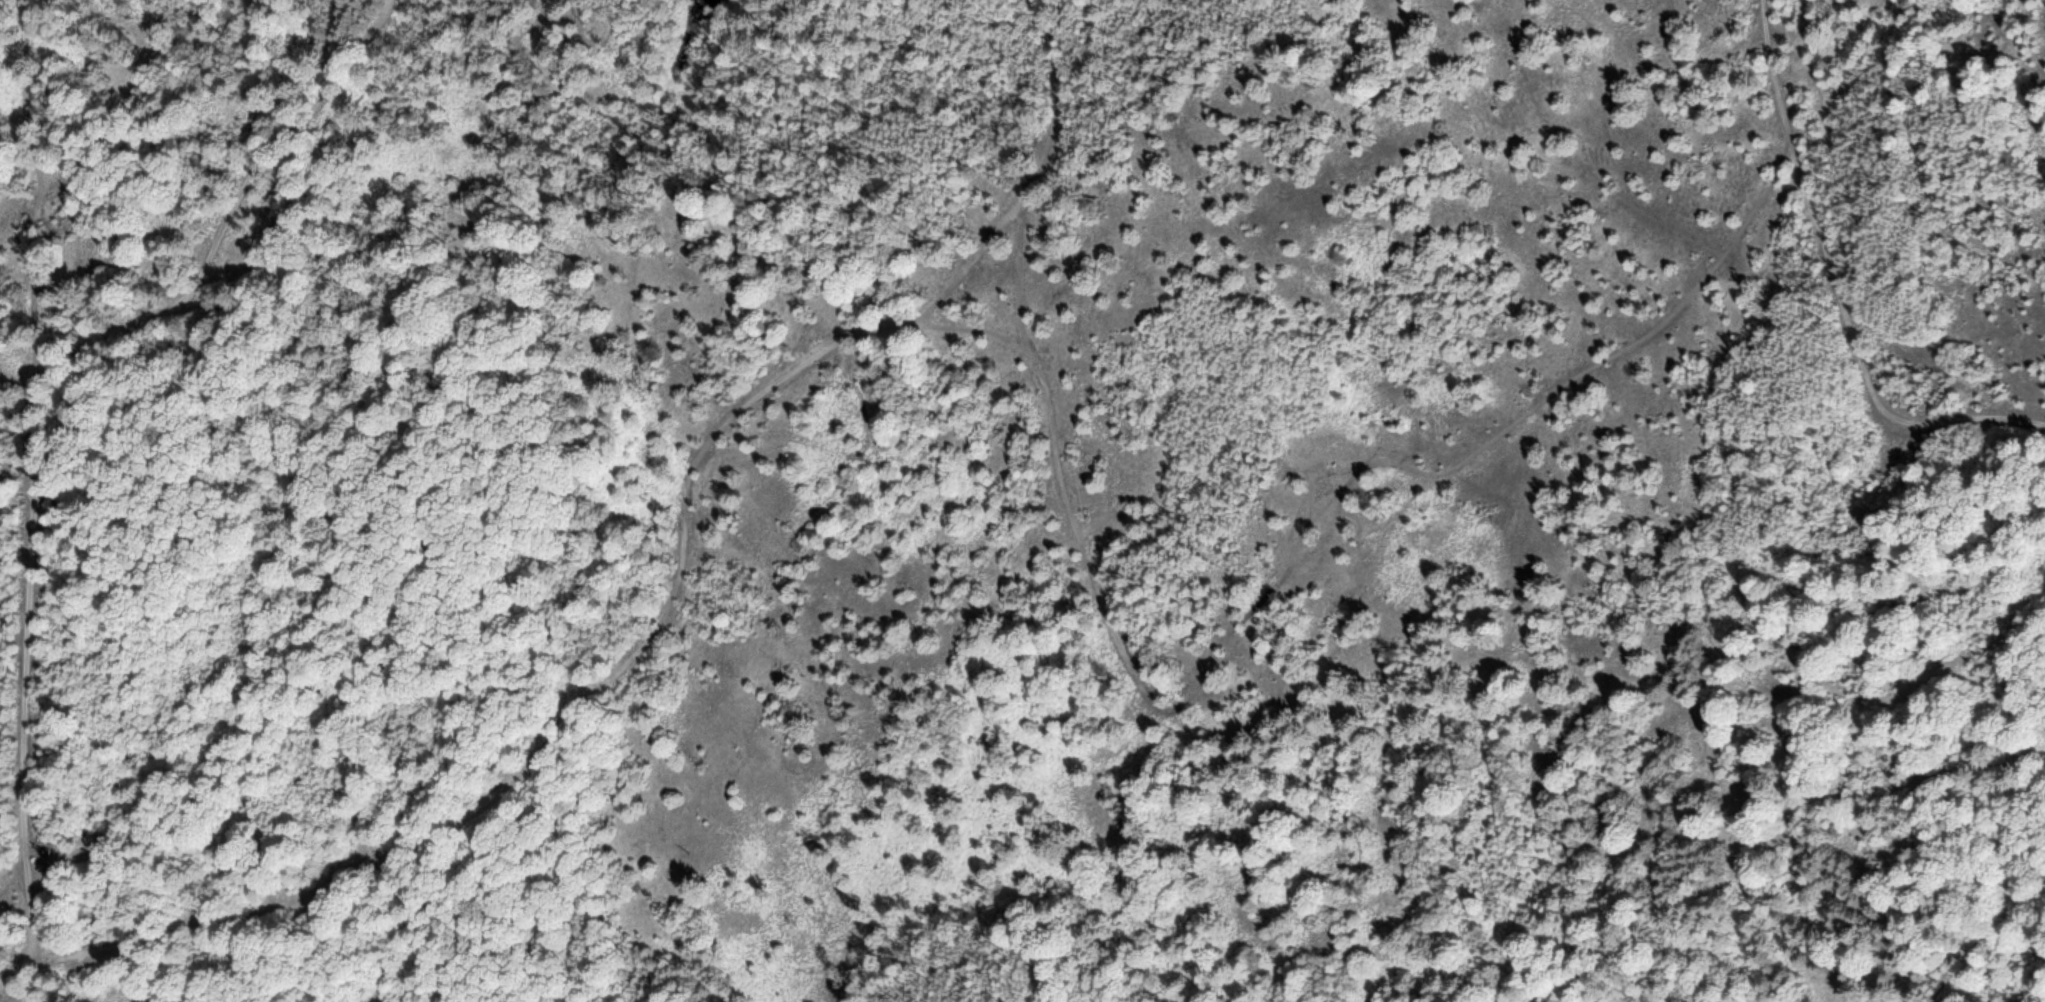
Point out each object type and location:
road: (1840, 286)
road: (41, 423)
road: (658, 588)
road: (331, 942)

